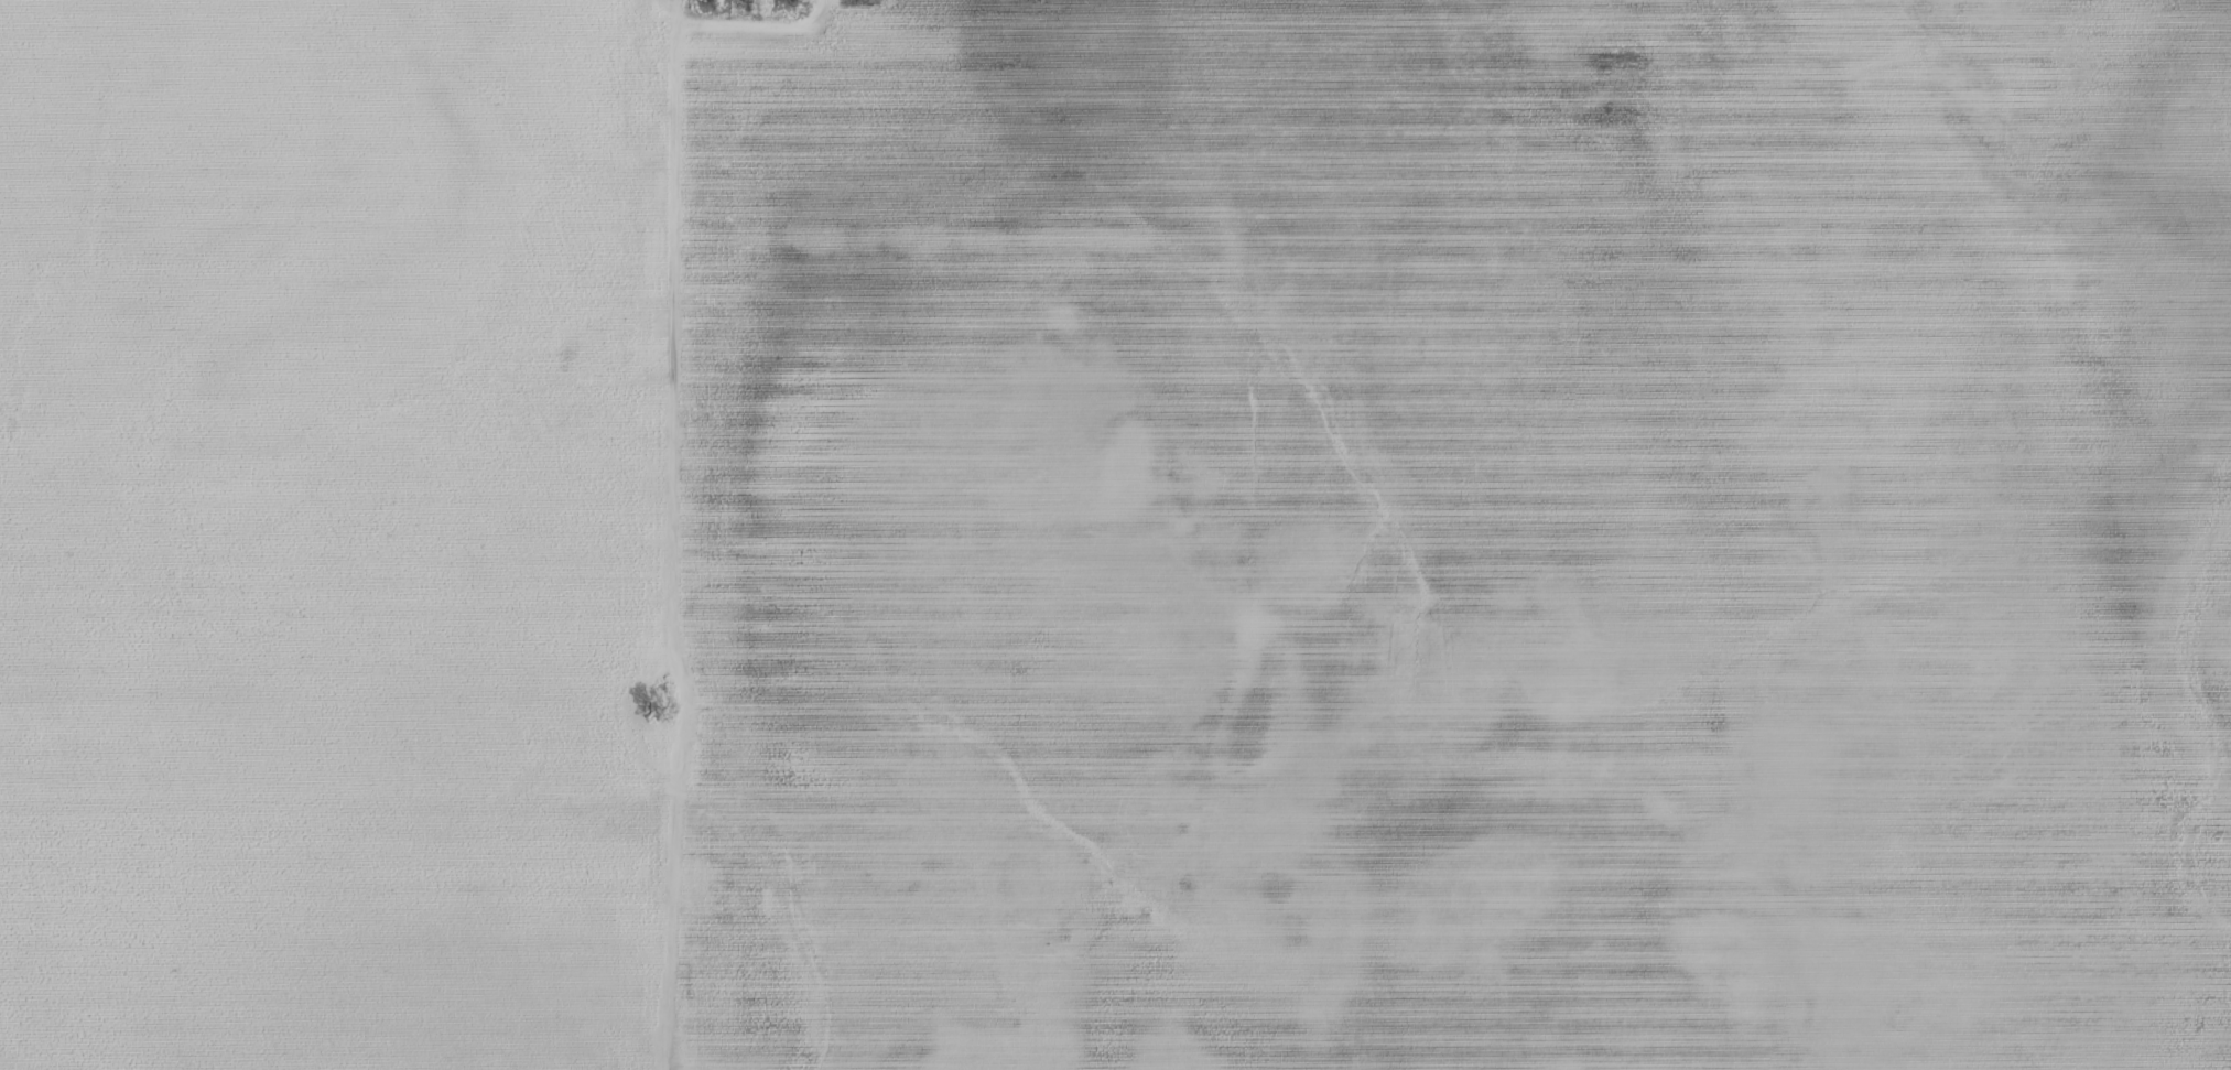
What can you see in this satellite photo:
road: (679, 534)

